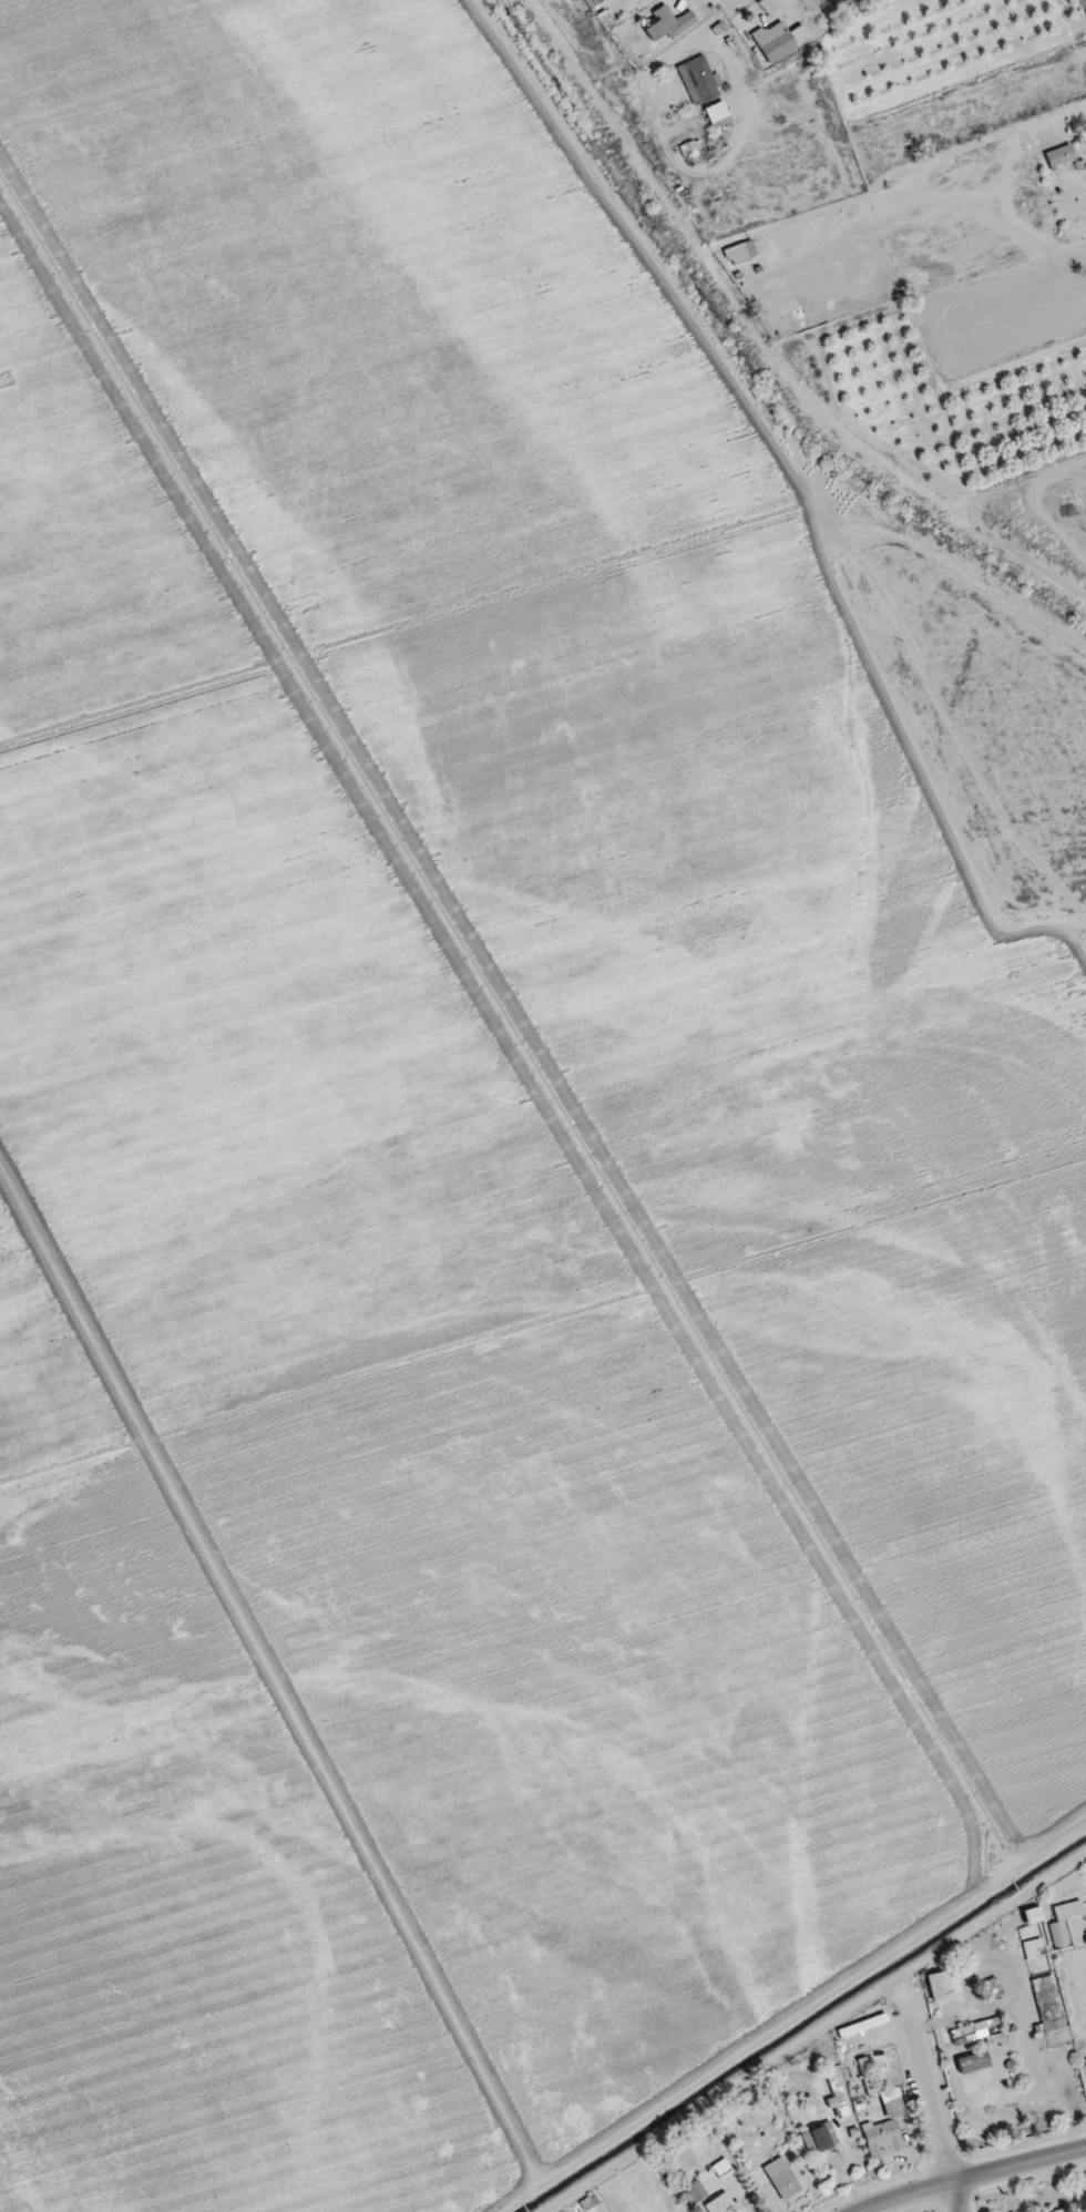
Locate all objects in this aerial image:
building: (773, 43)
road: (928, 119)
building: (1033, 1915)
building: (1064, 1923)
building: (1033, 1948)
building: (944, 1984)
building: (1048, 2005)
building: (980, 2032)
building: (973, 2062)
building: (867, 2076)
building: (837, 2097)
road: (934, 2112)
building: (823, 2137)
building: (882, 2137)
building: (721, 2169)
building: (782, 2179)
road: (971, 2179)
building: (695, 2192)
building: (725, 2203)
building: (1065, 2211)

